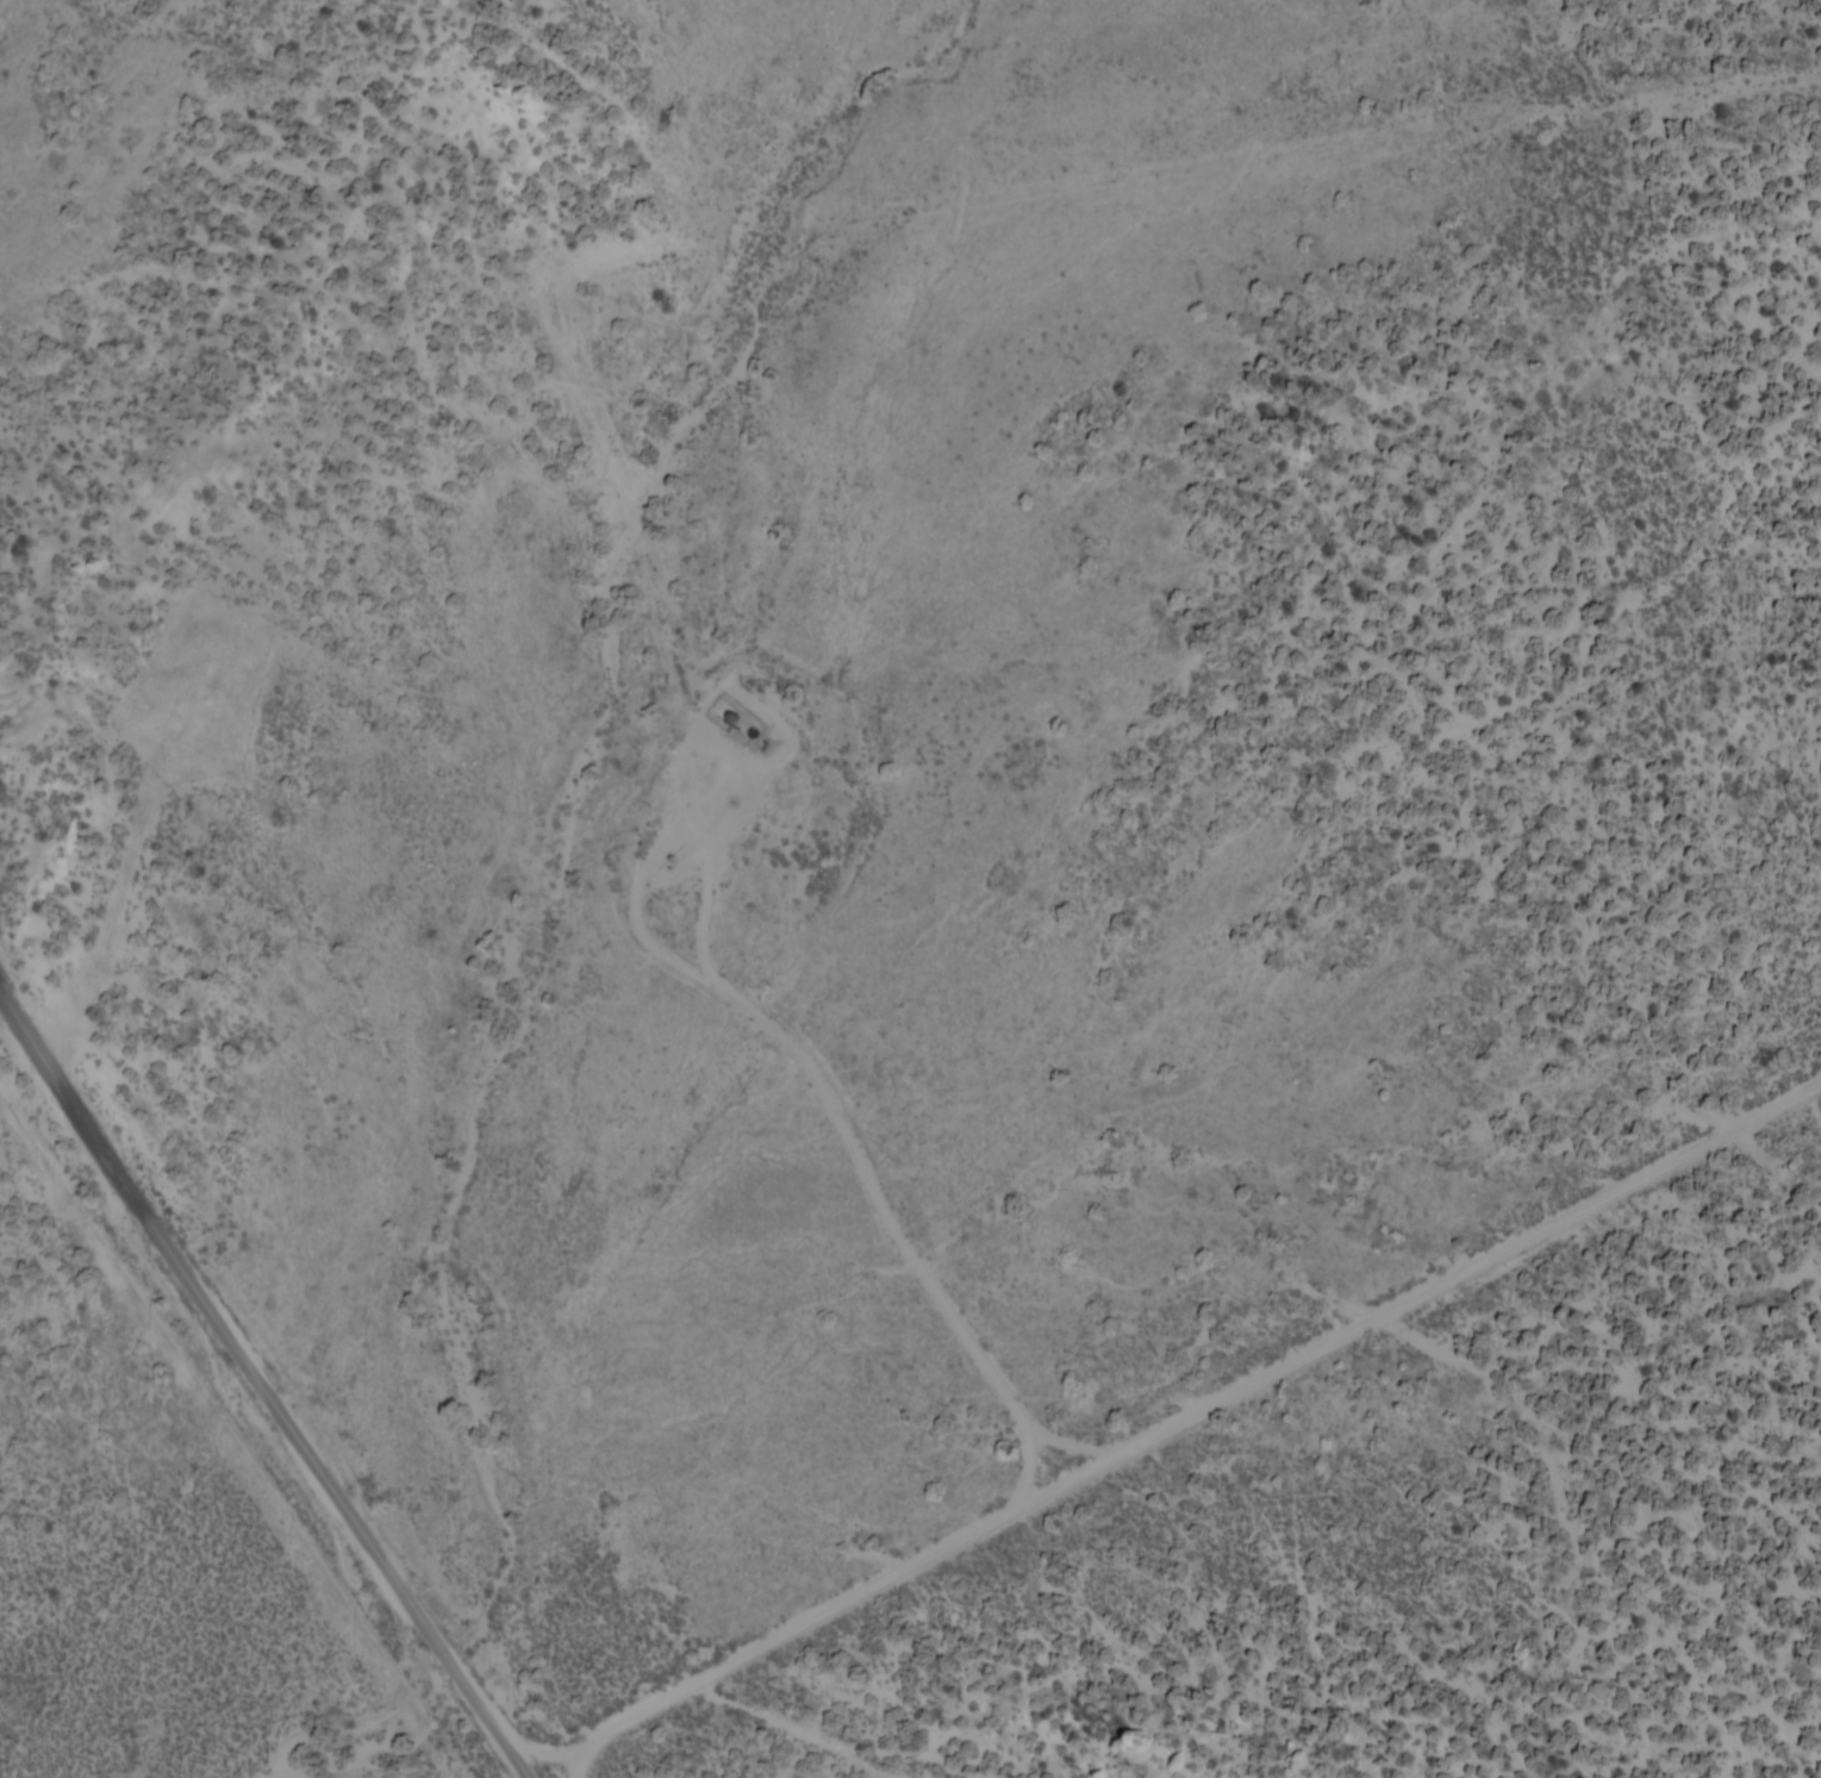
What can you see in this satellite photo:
river: (540, 902)
road: (264, 1378)
road: (1179, 1405)
road: (550, 1751)

